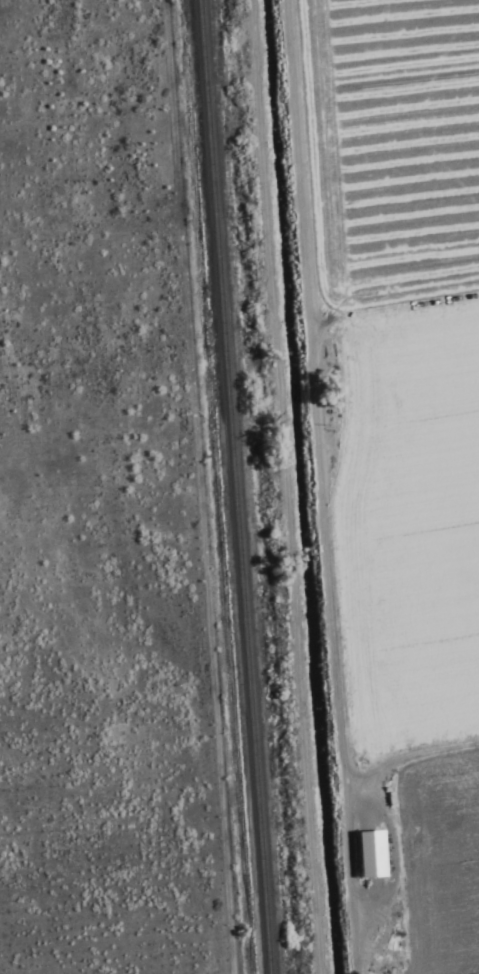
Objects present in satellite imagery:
road: (399, 307)
railway: (230, 487)
road: (331, 487)
road: (407, 760)
road: (369, 770)
building: (364, 857)

